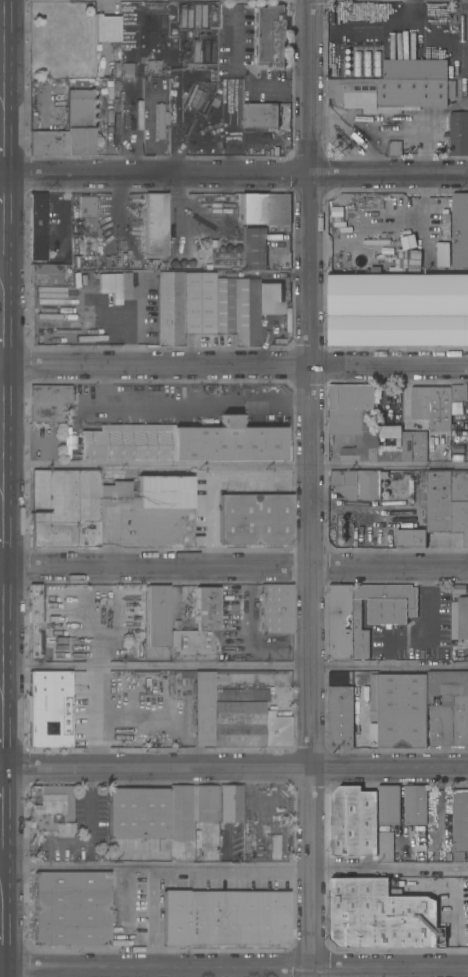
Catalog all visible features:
building: (106, 28)
building: (269, 34)
building: (57, 38)
road: (1, 47)
building: (357, 63)
building: (367, 63)
building: (378, 63)
building: (152, 67)
building: (414, 69)
road: (241, 71)
building: (125, 72)
building: (451, 89)
building: (388, 94)
building: (259, 116)
building: (160, 121)
building: (78, 123)
building: (458, 133)
road: (1, 135)
building: (47, 143)
building: (394, 148)
road: (0, 175)
road: (234, 175)
building: (379, 201)
building: (266, 208)
building: (86, 211)
road: (426, 218)
building: (155, 224)
building: (445, 226)
road: (1, 229)
building: (38, 230)
building: (460, 230)
building: (58, 235)
road: (345, 245)
building: (253, 249)
building: (443, 254)
building: (405, 258)
building: (48, 274)
building: (270, 298)
building: (184, 306)
building: (398, 309)
building: (236, 310)
road: (1, 324)
building: (45, 331)
road: (234, 366)
road: (0, 391)
building: (458, 392)
road: (187, 401)
building: (47, 402)
building: (432, 406)
building: (354, 417)
building: (389, 431)
building: (183, 442)
building: (414, 446)
building: (389, 453)
road: (234, 466)
building: (357, 483)
road: (311, 488)
building: (162, 492)
building: (438, 501)
building: (460, 503)
building: (72, 507)
building: (255, 519)
building: (410, 537)
road: (233, 567)
building: (458, 589)
building: (275, 609)
building: (158, 616)
building: (463, 618)
building: (387, 619)
building: (35, 624)
building: (198, 627)
building: (72, 631)
building: (277, 641)
road: (234, 666)
building: (242, 672)
road: (91, 691)
building: (373, 692)
building: (440, 707)
building: (460, 708)
building: (49, 709)
building: (401, 710)
building: (340, 711)
building: (234, 717)
road: (156, 718)
building: (373, 731)
road: (91, 742)
road: (233, 768)
building: (45, 798)
building: (230, 804)
building: (415, 804)
building: (388, 805)
building: (206, 808)
building: (138, 813)
building: (179, 814)
building: (460, 820)
building: (352, 821)
building: (44, 822)
road: (234, 867)
building: (71, 908)
road: (125, 916)
building: (380, 916)
road: (151, 917)
building: (224, 917)
road: (233, 967)

